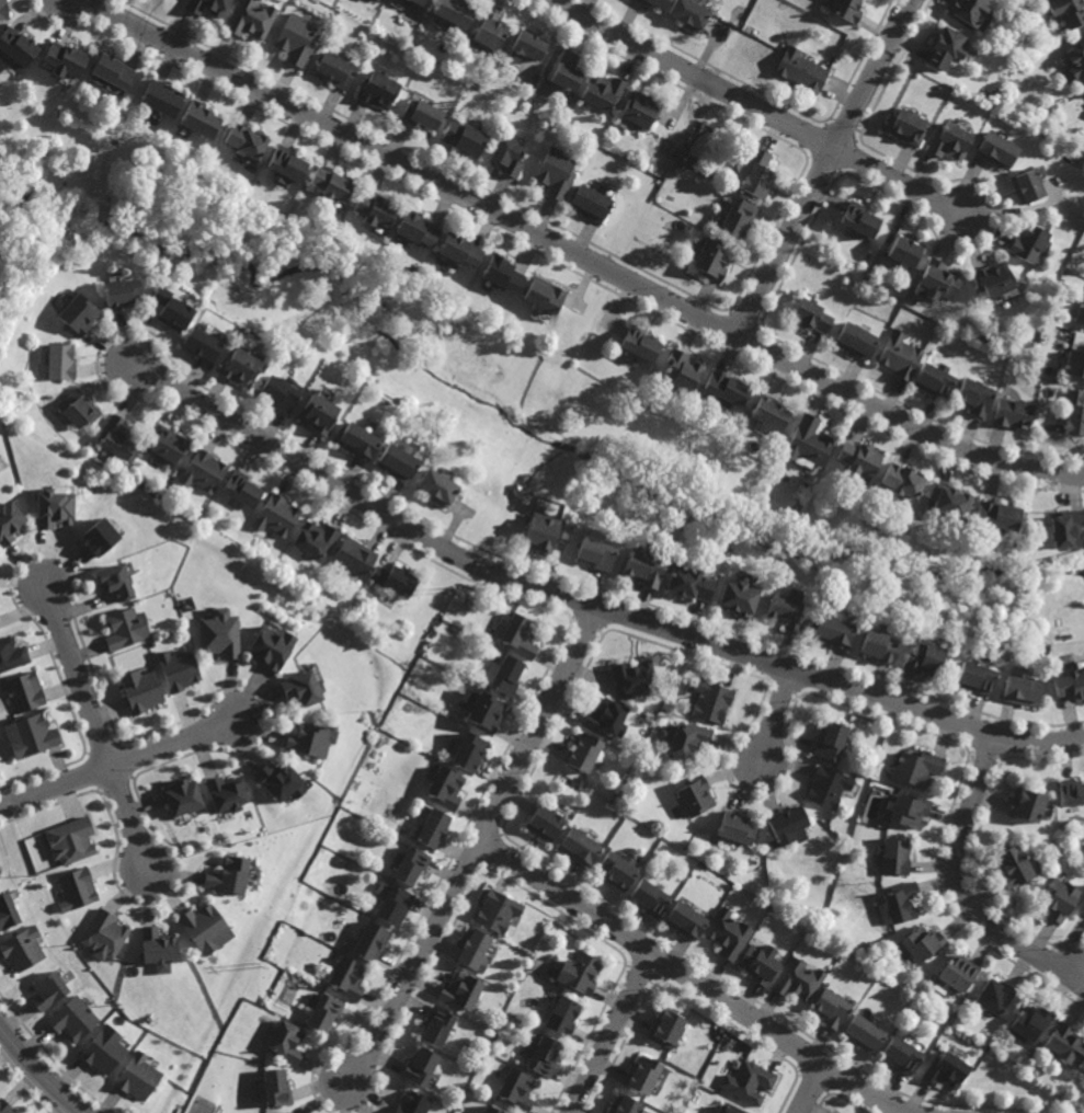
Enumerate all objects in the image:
building: (418, 2)
building: (657, 2)
building: (207, 7)
building: (2, 9)
building: (847, 9)
building: (456, 11)
building: (970, 11)
building: (1068, 11)
building: (691, 13)
building: (251, 19)
building: (490, 30)
building: (297, 39)
building: (527, 46)
building: (16, 48)
building: (946, 48)
building: (65, 59)
building: (1077, 59)
building: (338, 69)
building: (802, 69)
building: (567, 70)
building: (112, 74)
building: (380, 90)
building: (604, 91)
building: (161, 99)
road: (756, 106)
building: (641, 108)
building: (422, 113)
building: (197, 121)
building: (1062, 123)
building: (909, 126)
building: (465, 136)
building: (950, 141)
building: (243, 142)
building: (997, 150)
building: (507, 154)
building: (285, 165)
road: (825, 167)
building: (557, 171)
building: (758, 174)
building: (331, 185)
building: (1028, 186)
building: (592, 202)
building: (376, 210)
building: (740, 217)
building: (860, 220)
building: (417, 228)
building: (1030, 243)
building: (459, 250)
building: (903, 250)
road: (579, 252)
building: (710, 259)
building: (501, 273)
building: (993, 278)
building: (936, 279)
building: (121, 291)
building: (544, 294)
building: (170, 308)
building: (76, 313)
building: (1081, 313)
building: (812, 315)
building: (856, 340)
building: (198, 342)
building: (638, 342)
building: (900, 355)
building: (59, 360)
building: (1074, 364)
building: (237, 365)
building: (680, 369)
building: (935, 379)
building: (724, 388)
building: (275, 392)
building: (975, 395)
building: (78, 409)
building: (768, 411)
building: (316, 413)
building: (1013, 413)
building: (1074, 413)
building: (117, 437)
building: (354, 439)
building: (808, 440)
building: (167, 444)
building: (859, 457)
building: (395, 461)
building: (204, 471)
building: (901, 480)
building: (435, 486)
building: (241, 489)
building: (947, 500)
building: (53, 509)
building: (276, 515)
building: (995, 515)
building: (8, 521)
building: (1066, 528)
building: (538, 531)
building: (98, 537)
building: (315, 539)
building: (594, 553)
building: (354, 555)
building: (641, 567)
building: (393, 580)
building: (119, 582)
building: (687, 584)
power tower: (450, 588)
building: (738, 597)
road: (586, 605)
building: (784, 611)
building: (125, 628)
building: (828, 631)
building: (517, 634)
building: (216, 636)
building: (269, 646)
building: (874, 646)
building: (11, 654)
building: (920, 659)
building: (178, 668)
building: (506, 675)
building: (635, 678)
building: (971, 679)
building: (1069, 685)
building: (305, 686)
building: (24, 691)
building: (141, 691)
building: (1019, 691)
building: (711, 700)
building: (674, 707)
building: (486, 712)
road: (775, 715)
building: (606, 718)
road: (96, 724)
building: (33, 734)
building: (311, 739)
building: (688, 741)
building: (829, 741)
building: (468, 751)
building: (582, 753)
road: (118, 762)
building: (914, 769)
building: (279, 781)
building: (445, 787)
building: (828, 787)
building: (228, 792)
building: (1070, 793)
building: (694, 796)
building: (181, 798)
building: (1025, 804)
building: (905, 812)
building: (545, 824)
building: (1065, 824)
building: (432, 827)
building: (738, 827)
building: (789, 827)
building: (70, 840)
road: (478, 848)
building: (579, 848)
building: (894, 856)
building: (410, 862)
building: (1012, 868)
building: (615, 872)
building: (227, 875)
road: (961, 886)
building: (77, 887)
building: (649, 898)
building: (1058, 899)
building: (362, 902)
building: (392, 902)
building: (902, 903)
building: (1083, 908)
building: (498, 910)
building: (8, 913)
building: (684, 920)
building: (205, 927)
building: (729, 933)
building: (104, 934)
building: (372, 941)
building: (923, 942)
building: (158, 948)
building: (475, 948)
building: (23, 949)
building: (761, 961)
power tower: (258, 964)
building: (580, 971)
building: (957, 974)
building: (799, 977)
building: (350, 980)
road: (695, 982)
building: (49, 990)
building: (461, 990)
building: (995, 996)
building: (833, 1006)
building: (327, 1012)
building: (563, 1013)
building: (76, 1019)
building: (1029, 1022)
building: (438, 1025)
building: (667, 1026)
building: (865, 1032)
road: (614, 1034)
building: (288, 1043)
building: (1065, 1044)
building: (105, 1049)
building: (903, 1054)
building: (543, 1055)
building: (421, 1066)
building: (948, 1069)
road: (41, 1071)
building: (643, 1074)
building: (139, 1077)
building: (750, 1081)
building: (277, 1089)
building: (516, 1089)
road: (811, 1089)
building: (415, 1103)
building: (626, 1104)
building: (5, 1106)
building: (492, 1109)
building: (730, 1109)
building: (288, 1112)

